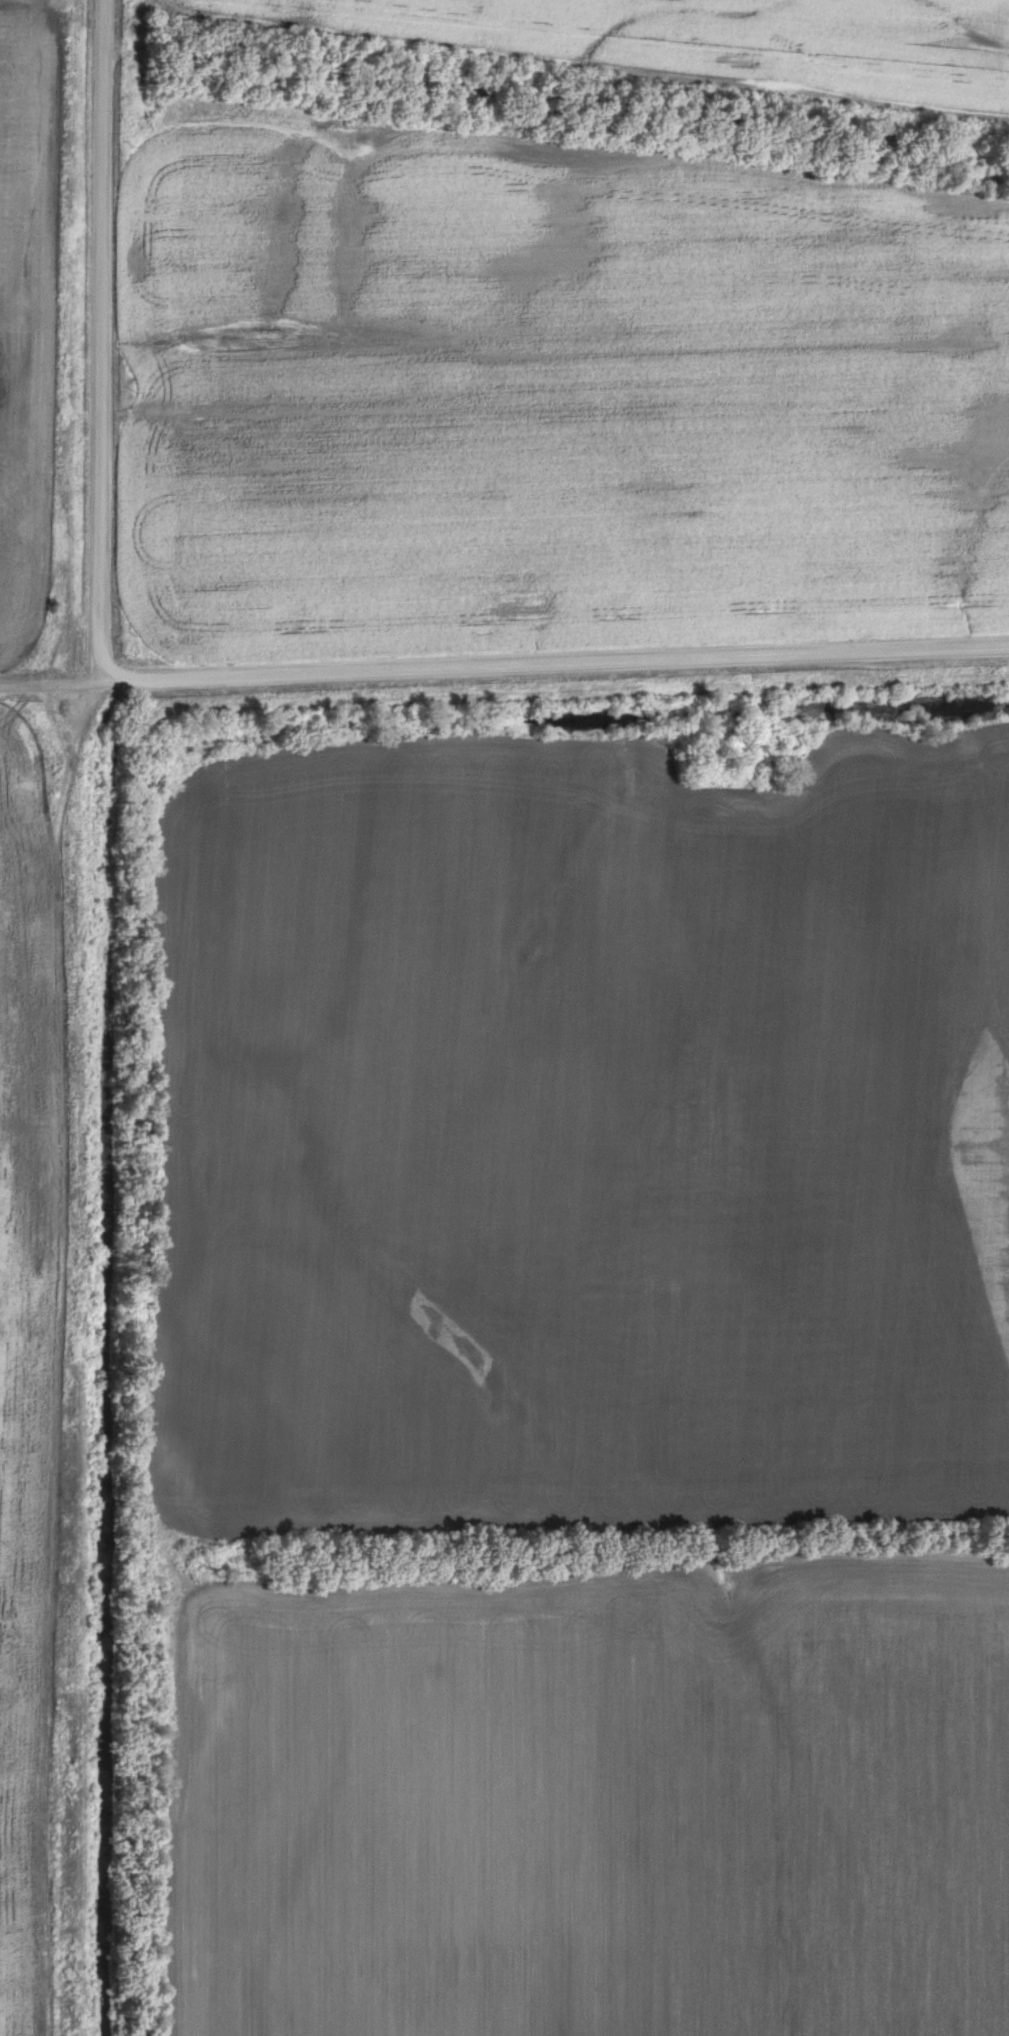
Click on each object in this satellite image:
crop: (693, 41)
crop: (23, 334)
road: (102, 340)
crop: (551, 400)
road: (504, 665)
crop: (582, 1134)
crop: (31, 1365)
crop: (593, 1799)

